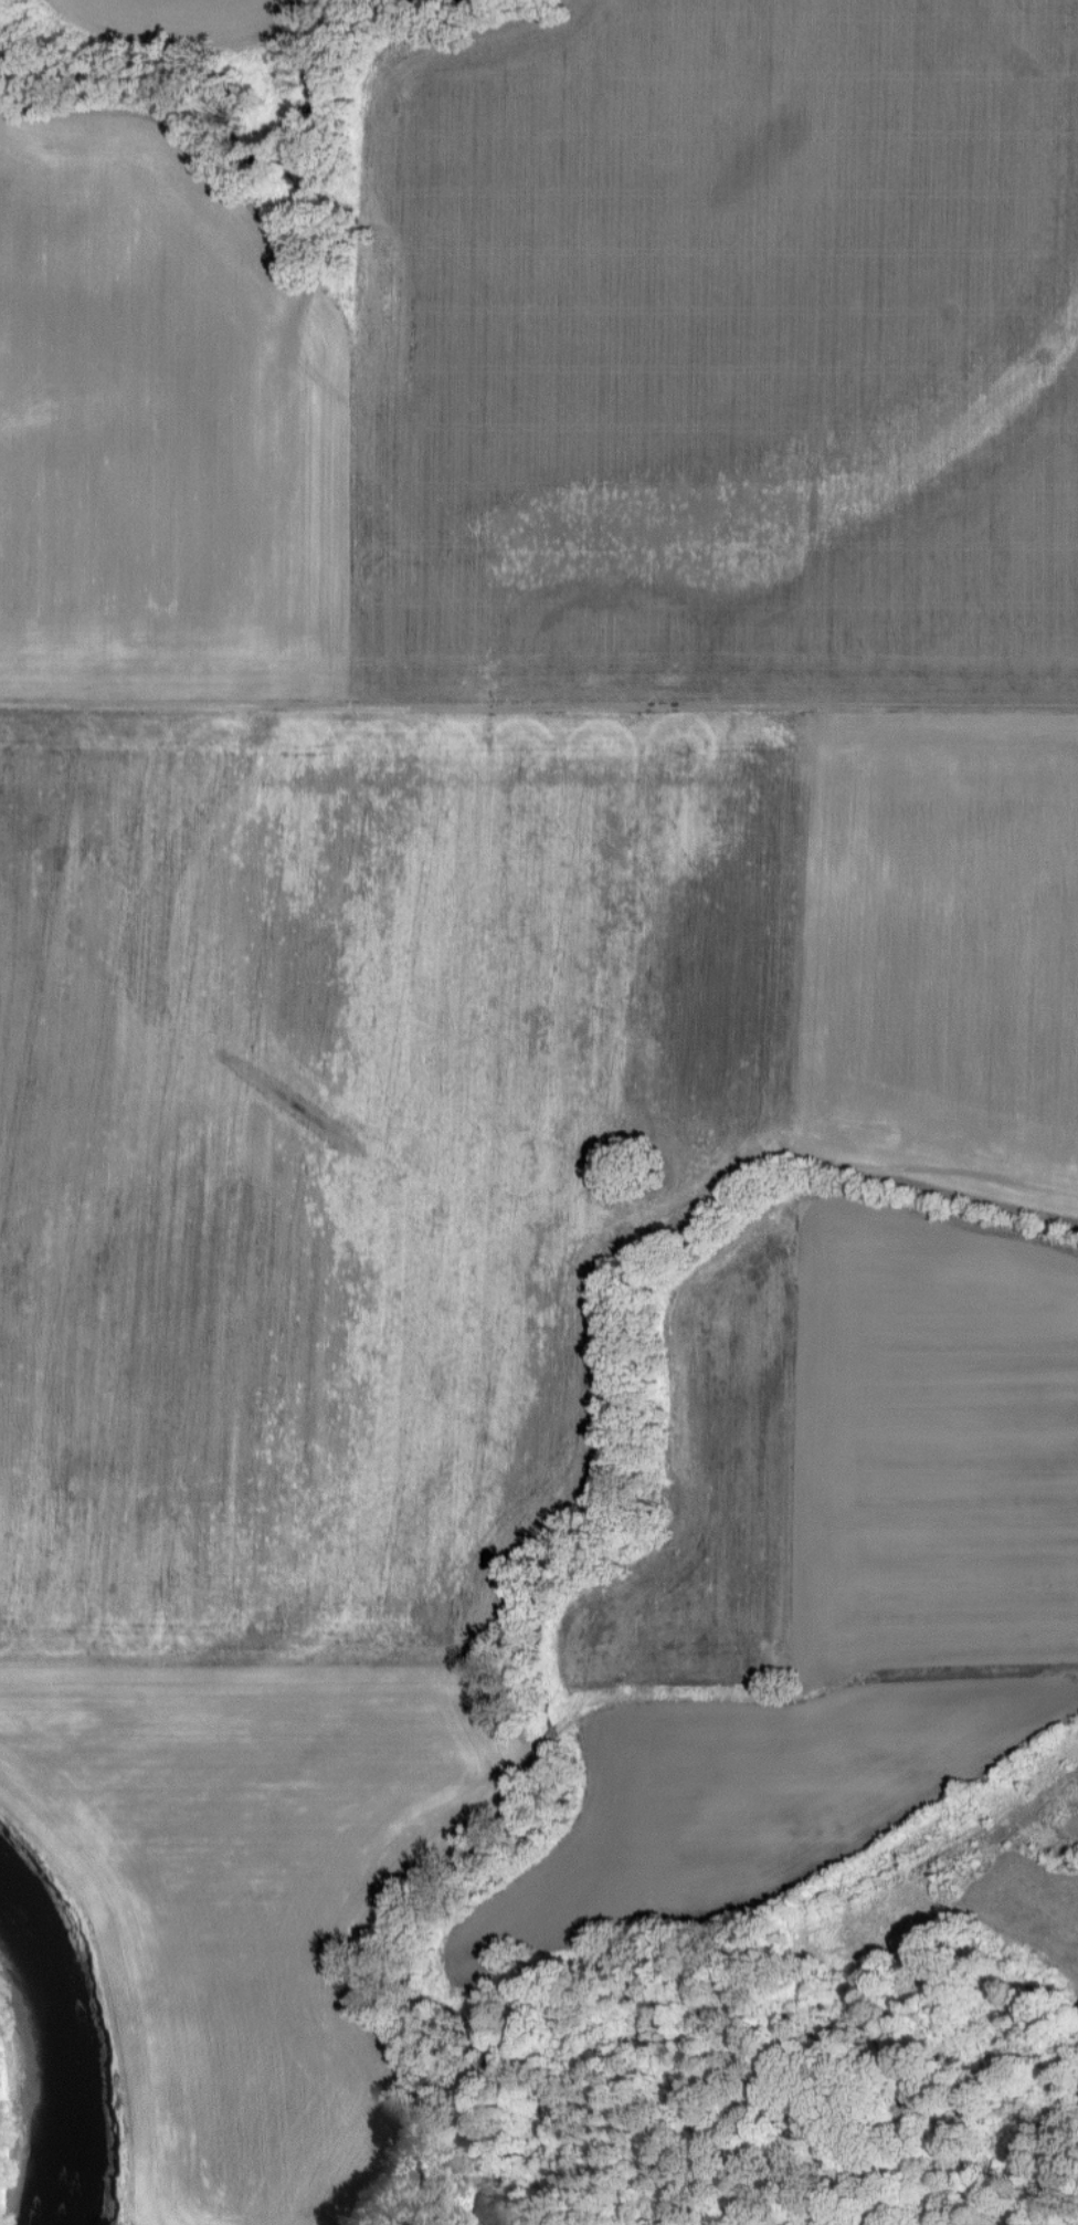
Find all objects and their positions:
road: (539, 702)
river: (40, 2063)

